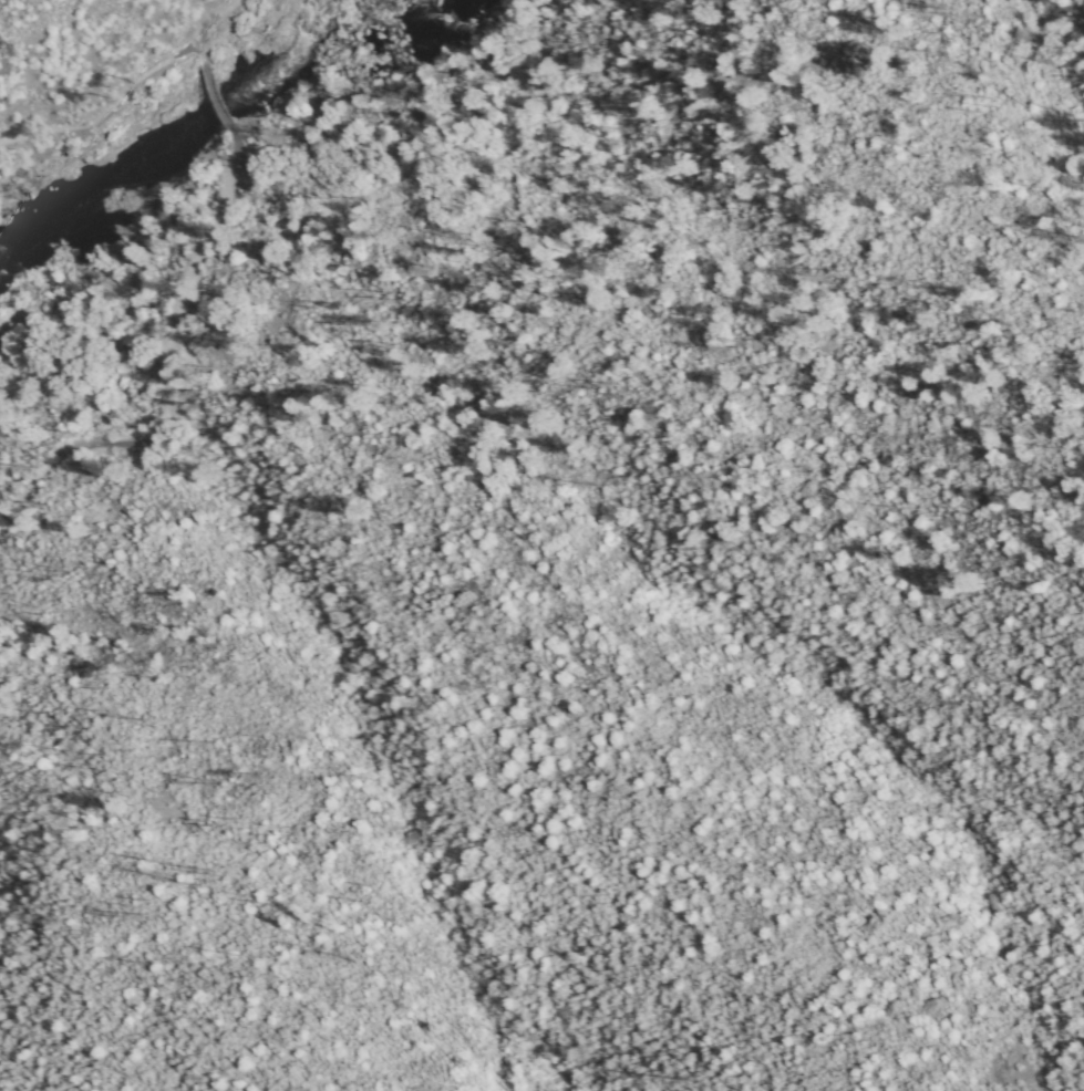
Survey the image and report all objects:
road: (209, 20)
road: (213, 96)
road: (109, 113)
river: (205, 126)
road: (171, 373)
road: (174, 789)

